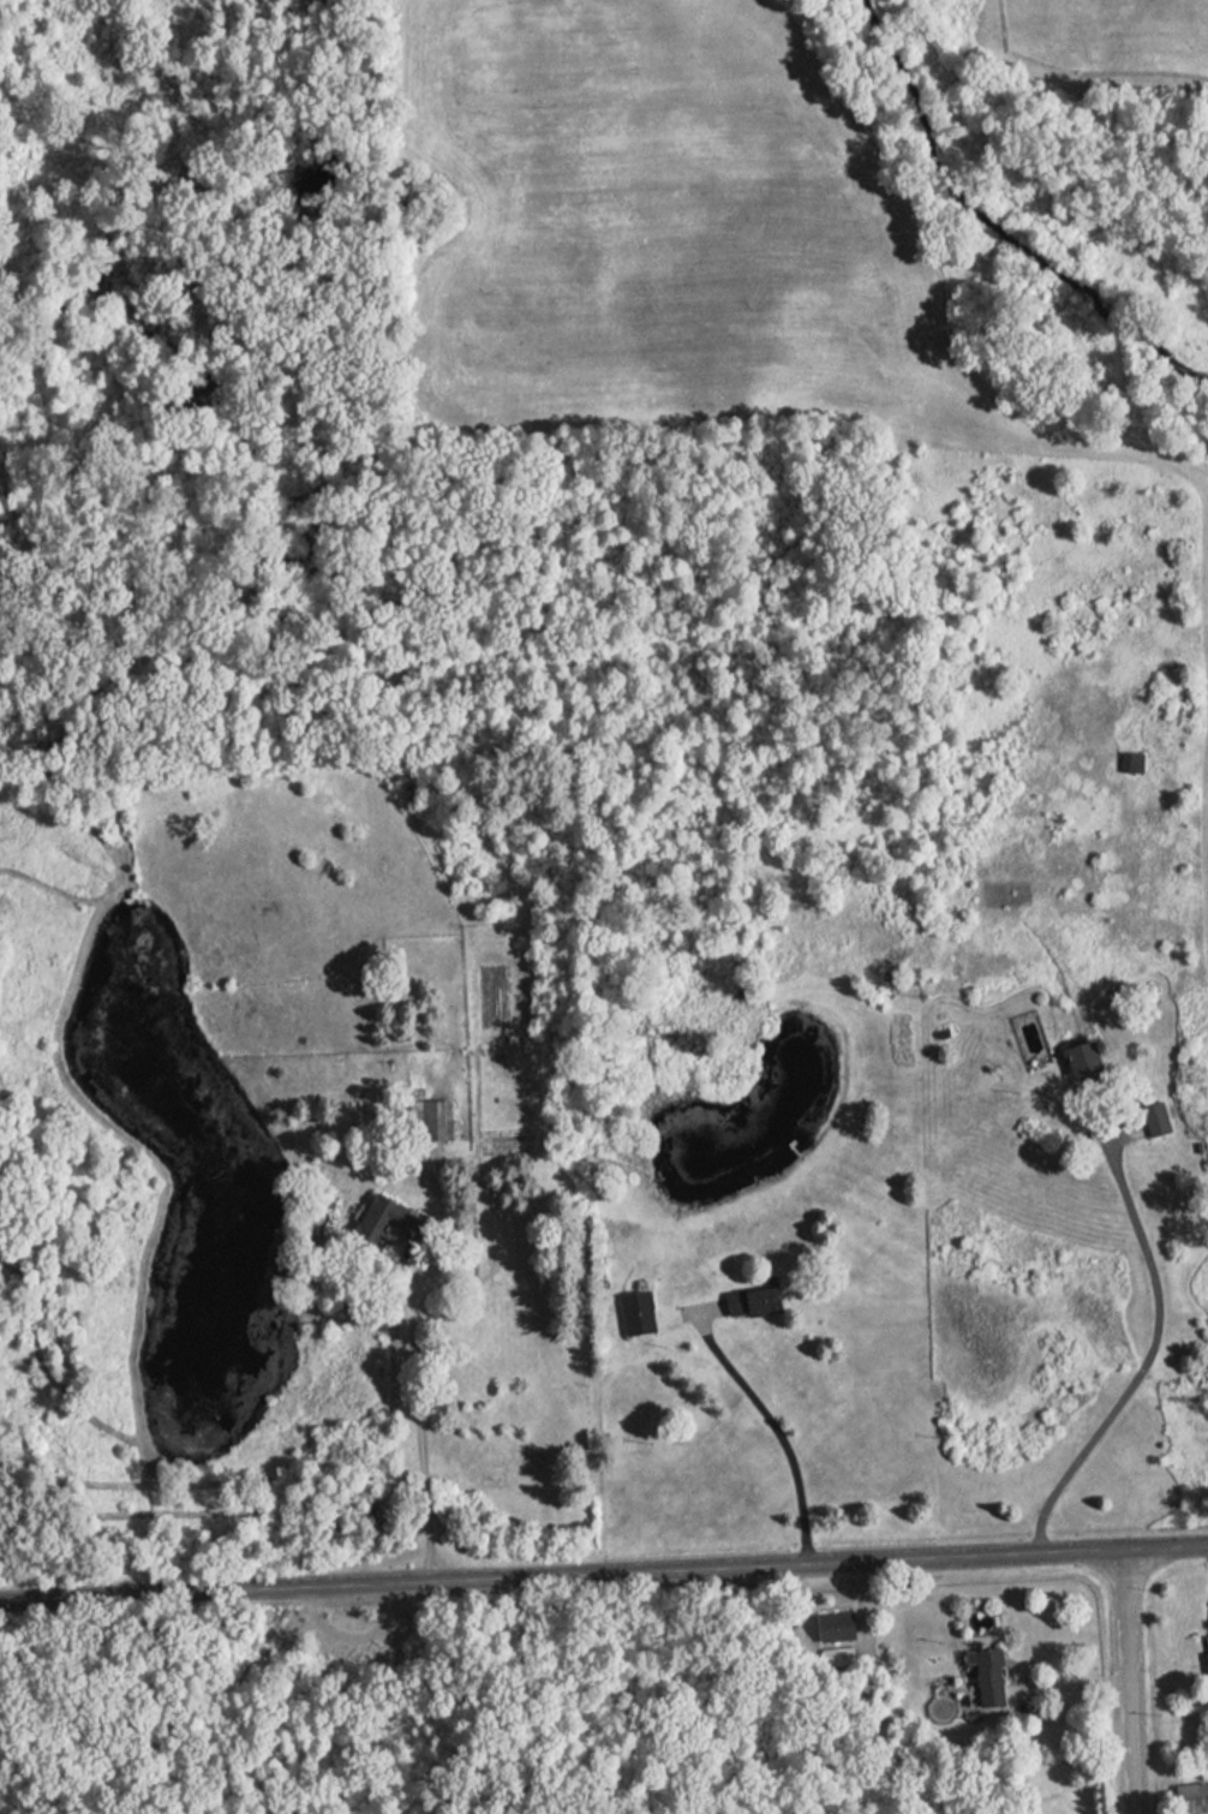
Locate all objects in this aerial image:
building: (1135, 759)
building: (1090, 1058)
building: (1161, 1116)
building: (394, 1218)
building: (759, 1299)
road: (1146, 1359)
road: (419, 1425)
road: (782, 1431)
road: (604, 1575)
building: (992, 1677)
road: (1134, 1682)
road: (1069, 1701)
building: (1196, 1794)

